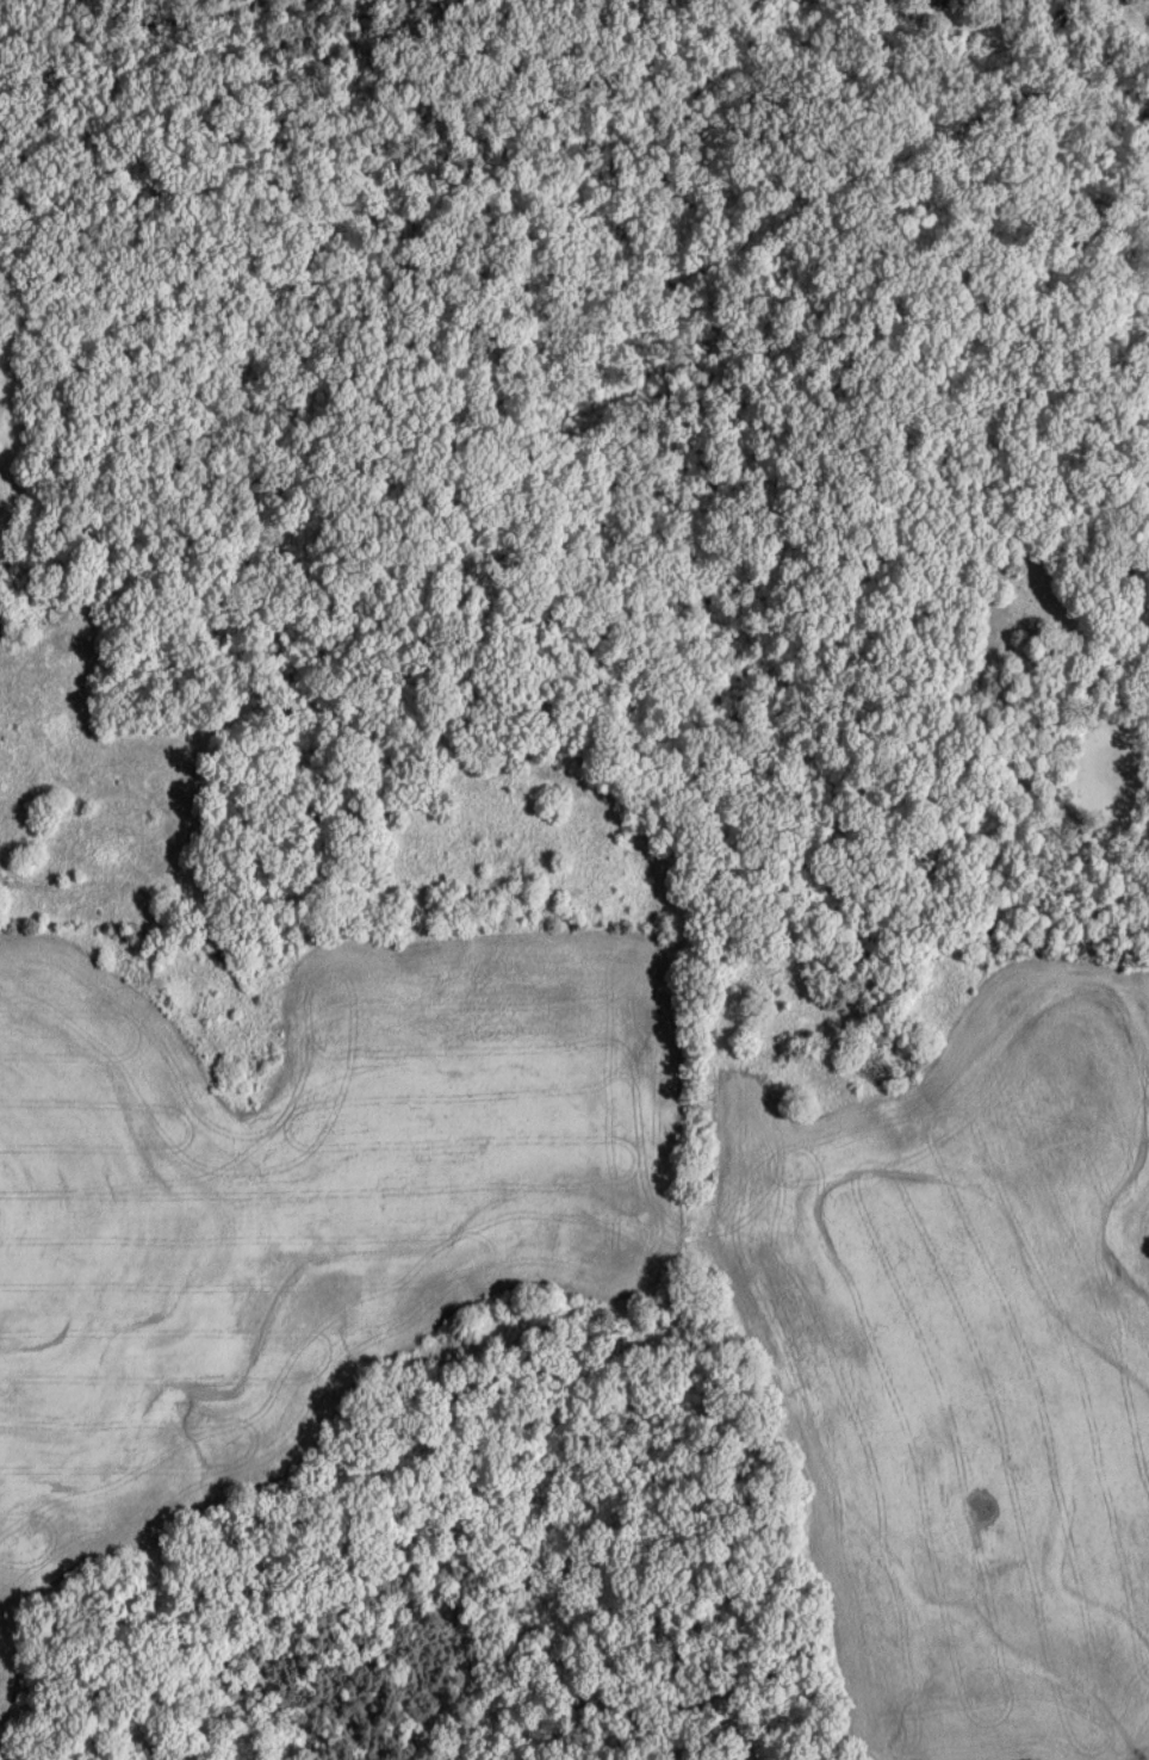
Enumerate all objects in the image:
building: (964, 0)

